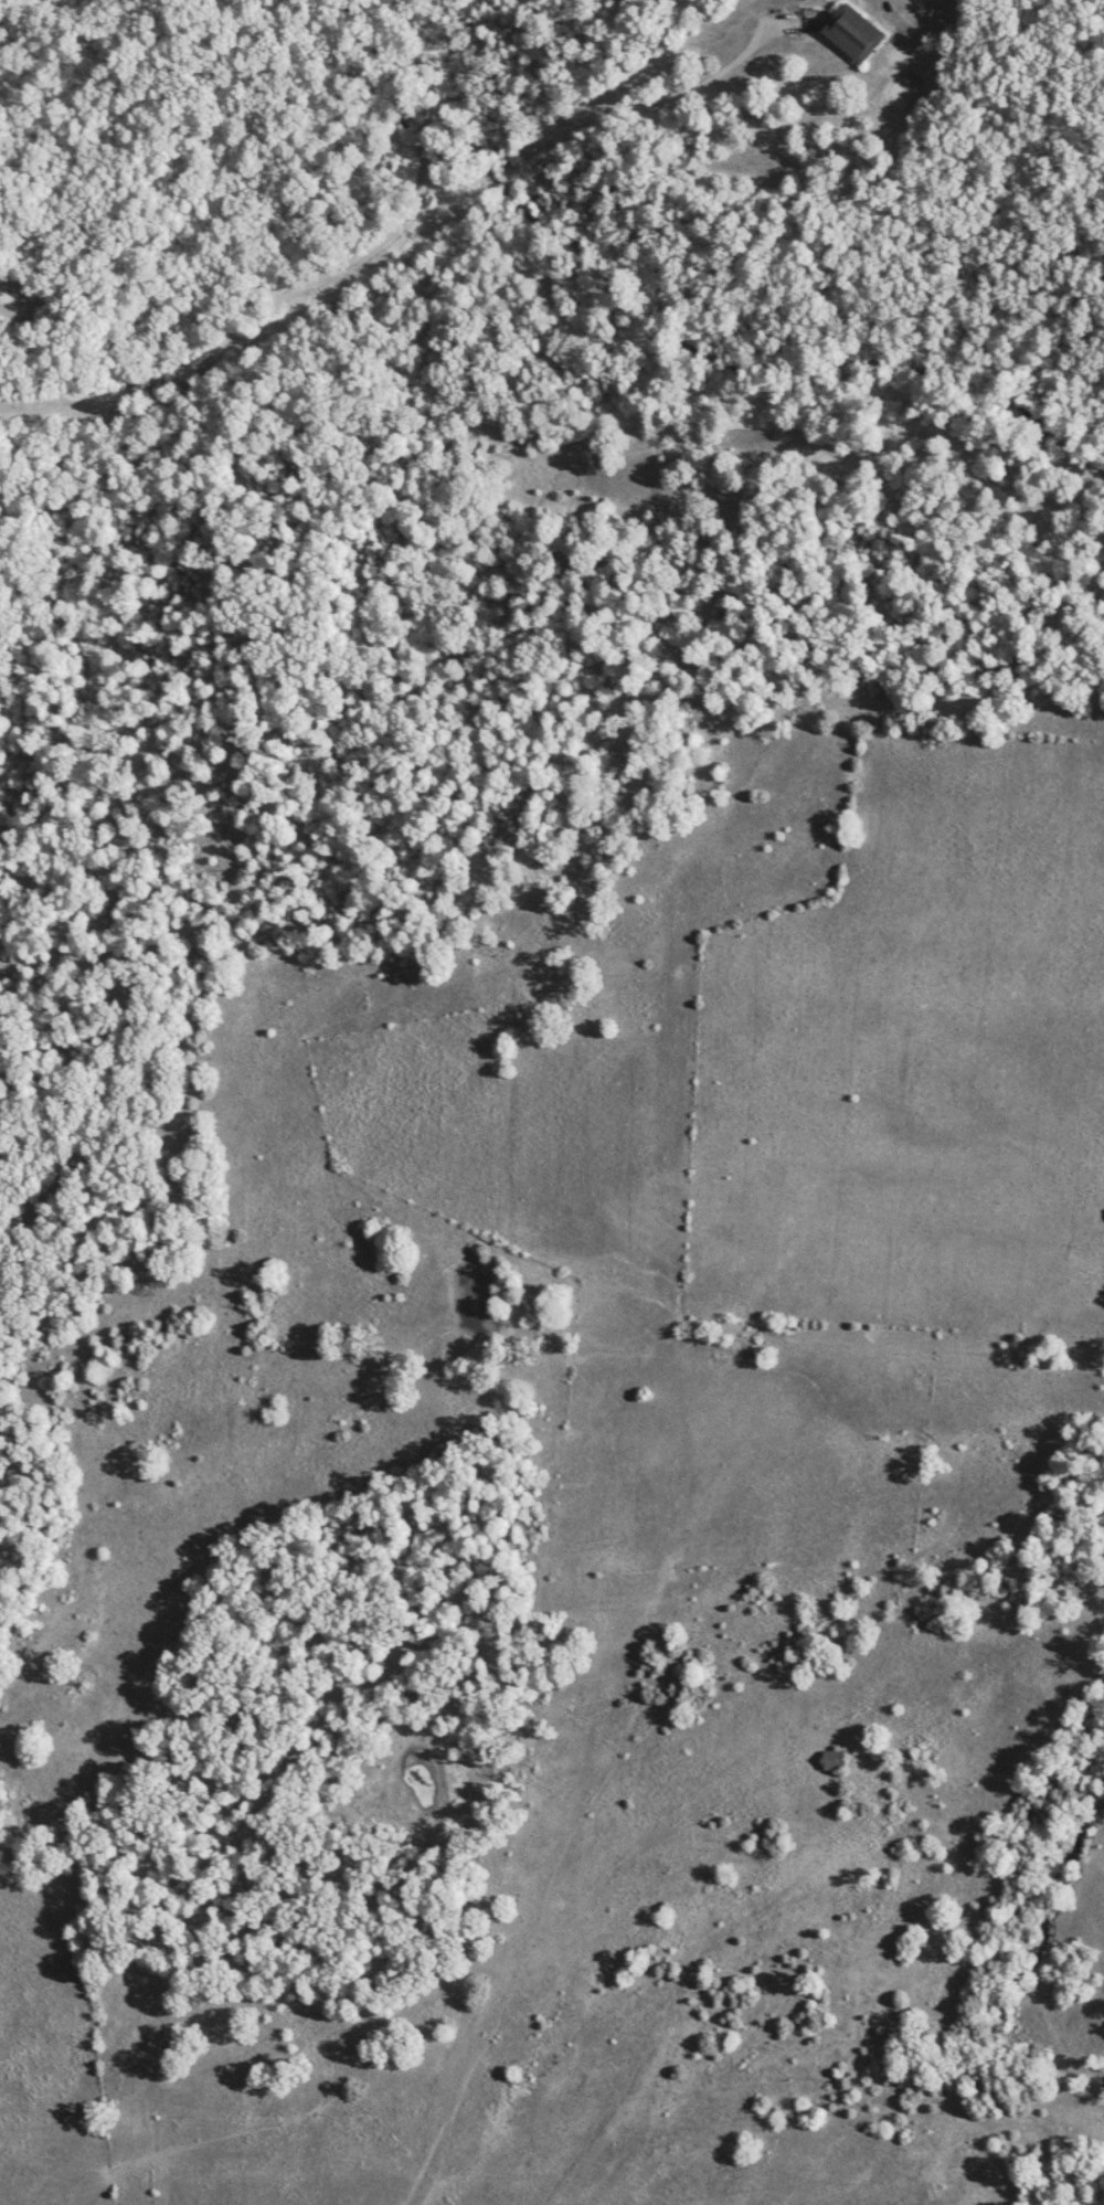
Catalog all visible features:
building: (852, 33)
road: (411, 200)
building: (835, 1759)

